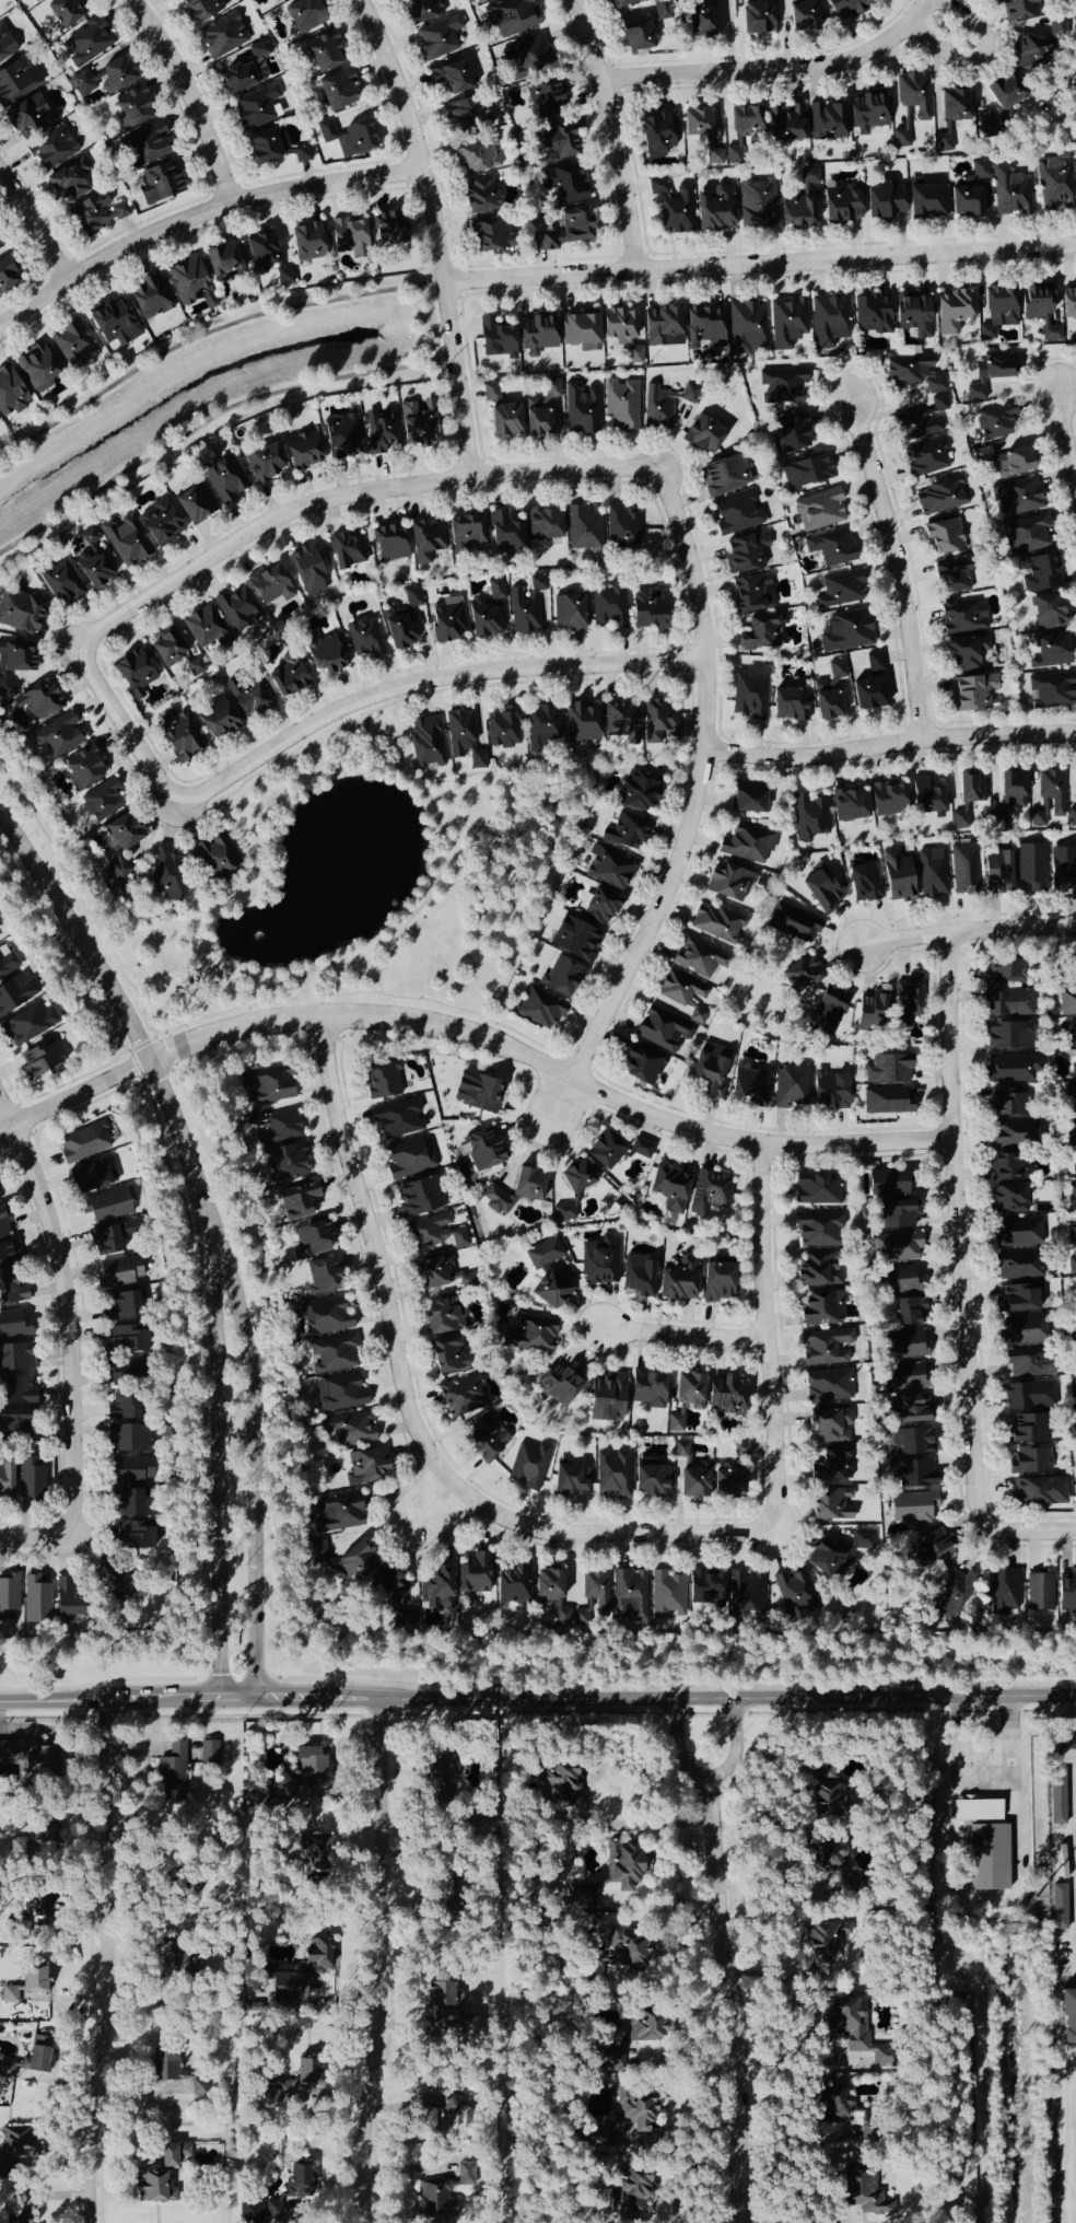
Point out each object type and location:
building: (34, 0)
building: (273, 1)
building: (478, 1)
building: (621, 3)
road: (923, 7)
building: (424, 9)
building: (844, 9)
building: (1020, 9)
building: (1075, 9)
building: (200, 10)
building: (663, 10)
building: (65, 12)
building: (304, 15)
building: (800, 15)
building: (511, 16)
building: (757, 18)
building: (702, 20)
road: (967, 22)
building: (1059, 28)
building: (222, 36)
building: (635, 36)
building: (438, 38)
building: (89, 43)
building: (5, 46)
road: (944, 51)
building: (1029, 51)
building: (323, 54)
building: (529, 56)
road: (765, 67)
building: (246, 71)
building: (452, 78)
building: (104, 79)
building: (16, 82)
building: (338, 90)
building: (1005, 93)
building: (914, 94)
road: (187, 97)
building: (545, 100)
building: (955, 106)
building: (256, 107)
building: (132, 108)
building: (868, 113)
building: (467, 116)
building: (27, 117)
building: (827, 123)
building: (697, 124)
building: (785, 125)
building: (741, 129)
road: (610, 132)
building: (657, 135)
building: (348, 138)
building: (554, 143)
building: (145, 147)
building: (262, 148)
building: (51, 150)
building: (302, 154)
building: (476, 155)
building: (715, 156)
building: (1075, 167)
building: (68, 183)
building: (159, 184)
building: (563, 184)
building: (1056, 185)
building: (657, 187)
building: (1008, 191)
building: (970, 194)
building: (480, 196)
building: (925, 200)
building: (885, 202)
building: (757, 205)
building: (802, 205)
building: (842, 205)
building: (715, 211)
building: (677, 212)
building: (95, 213)
road: (196, 213)
road: (416, 226)
road: (31, 229)
building: (388, 230)
building: (565, 230)
road: (429, 233)
building: (349, 236)
building: (491, 236)
building: (306, 243)
building: (0, 249)
building: (261, 249)
building: (223, 259)
road: (757, 264)
building: (284, 278)
building: (187, 281)
building: (149, 298)
building: (1036, 302)
building: (1068, 303)
building: (954, 311)
building: (998, 312)
building: (872, 315)
building: (913, 315)
building: (829, 321)
building: (787, 323)
building: (114, 324)
road: (430, 324)
building: (619, 326)
building: (663, 327)
building: (705, 327)
building: (748, 327)
building: (581, 331)
building: (1052, 334)
road: (198, 336)
building: (537, 336)
building: (496, 339)
building: (72, 345)
building: (634, 354)
building: (36, 369)
building: (990, 373)
building: (915, 374)
building: (782, 386)
building: (490, 392)
building: (10, 394)
building: (664, 405)
building: (621, 407)
building: (582, 409)
building: (545, 411)
building: (504, 420)
road: (444, 421)
building: (922, 421)
building: (996, 422)
building: (418, 423)
road: (202, 424)
building: (382, 431)
road: (1066, 434)
building: (703, 435)
building: (342, 437)
building: (302, 450)
building: (926, 458)
building: (264, 462)
building: (807, 472)
building: (724, 476)
building: (224, 478)
building: (1018, 496)
building: (941, 497)
road: (347, 498)
building: (194, 503)
building: (820, 511)
building: (737, 514)
building: (160, 523)
building: (545, 525)
building: (622, 528)
building: (584, 529)
building: (465, 533)
building: (505, 534)
building: (1026, 534)
building: (944, 536)
building: (125, 539)
building: (425, 540)
building: (389, 544)
building: (832, 548)
building: (346, 551)
building: (745, 552)
building: (91, 561)
road: (893, 563)
building: (307, 570)
building: (1039, 573)
building: (952, 577)
building: (61, 583)
building: (269, 585)
building: (495, 590)
building: (841, 591)
building: (751, 593)
building: (527, 606)
building: (609, 607)
building: (237, 608)
building: (648, 609)
building: (19, 612)
building: (1048, 612)
building: (569, 613)
building: (963, 617)
building: (403, 620)
building: (447, 620)
building: (203, 626)
building: (846, 631)
building: (759, 635)
building: (363, 638)
building: (167, 647)
building: (1050, 651)
building: (967, 653)
building: (16, 656)
building: (325, 656)
building: (136, 671)
road: (420, 677)
building: (286, 678)
building: (870, 686)
building: (1051, 690)
building: (829, 691)
building: (974, 692)
building: (750, 694)
building: (38, 702)
building: (790, 705)
building: (234, 707)
building: (581, 723)
building: (622, 723)
building: (658, 723)
road: (124, 726)
building: (503, 728)
building: (543, 728)
building: (182, 736)
building: (57, 737)
building: (465, 738)
building: (426, 741)
road: (887, 742)
building: (80, 771)
building: (638, 791)
building: (966, 795)
building: (1010, 796)
building: (749, 798)
building: (1049, 798)
building: (888, 799)
building: (926, 799)
building: (102, 801)
building: (850, 805)
road: (690, 813)
building: (809, 817)
building: (1072, 817)
building: (124, 831)
building: (627, 831)
building: (747, 843)
building: (215, 857)
building: (963, 869)
building: (1032, 869)
building: (610, 870)
building: (1062, 870)
building: (997, 872)
building: (932, 873)
building: (167, 875)
building: (897, 876)
building: (864, 882)
building: (729, 883)
park: (362, 885)
building: (823, 889)
building: (600, 907)
building: (718, 923)
building: (794, 923)
road: (963, 933)
building: (574, 940)
building: (700, 957)
building: (8, 965)
building: (797, 971)
building: (1075, 971)
building: (1003, 973)
building: (561, 978)
building: (15, 991)
building: (682, 998)
building: (908, 1001)
building: (1067, 1002)
building: (1008, 1003)
road: (121, 1008)
building: (539, 1009)
building: (828, 1011)
building: (869, 1014)
building: (28, 1024)
building: (664, 1031)
road: (476, 1034)
building: (1072, 1034)
building: (1009, 1036)
building: (642, 1064)
building: (710, 1069)
building: (1011, 1069)
building: (888, 1070)
building: (382, 1080)
building: (748, 1087)
building: (791, 1087)
building: (265, 1089)
building: (830, 1091)
building: (477, 1092)
building: (1072, 1098)
building: (887, 1102)
building: (1006, 1103)
building: (397, 1119)
building: (280, 1128)
building: (1072, 1130)
building: (1015, 1133)
building: (82, 1143)
building: (639, 1149)
building: (483, 1150)
building: (605, 1151)
building: (408, 1161)
building: (285, 1163)
building: (1009, 1167)
building: (92, 1176)
building: (889, 1183)
building: (570, 1188)
building: (669, 1188)
building: (817, 1190)
building: (516, 1191)
building: (710, 1192)
building: (1073, 1196)
building: (420, 1197)
building: (296, 1199)
building: (1007, 1200)
building: (105, 1207)
building: (897, 1214)
building: (3, 1223)
building: (818, 1230)
building: (435, 1233)
building: (1017, 1233)
building: (1072, 1234)
road: (958, 1235)
building: (116, 1237)
building: (311, 1239)
building: (897, 1247)
building: (8, 1255)
building: (600, 1261)
building: (1073, 1261)
building: (1018, 1266)
building: (119, 1271)
building: (431, 1273)
building: (547, 1273)
building: (818, 1273)
building: (325, 1276)
building: (639, 1277)
building: (468, 1280)
building: (898, 1280)
building: (678, 1281)
building: (717, 1283)
building: (12, 1291)
building: (1018, 1299)
building: (118, 1306)
building: (821, 1308)
building: (910, 1312)
building: (326, 1316)
road: (60, 1317)
building: (443, 1317)
building: (13, 1325)
building: (1024, 1330)
road: (681, 1334)
building: (530, 1335)
road: (768, 1339)
building: (125, 1340)
building: (902, 1346)
building: (827, 1348)
building: (332, 1354)
building: (446, 1355)
building: (15, 1358)
building: (1029, 1363)
building: (125, 1372)
building: (903, 1377)
building: (559, 1385)
building: (828, 1386)
building: (647, 1389)
building: (15, 1392)
building: (339, 1394)
building: (726, 1396)
building: (1029, 1396)
building: (463, 1397)
building: (607, 1398)
building: (686, 1399)
building: (121, 1408)
building: (909, 1410)
road: (409, 1422)
building: (15, 1424)
building: (831, 1425)
building: (348, 1429)
building: (1027, 1429)
building: (130, 1440)
building: (487, 1441)
building: (910, 1443)
building: (740, 1450)
road: (255, 1455)
road: (218, 1458)
building: (1030, 1462)
building: (364, 1467)
building: (529, 1467)
building: (831, 1467)
building: (129, 1470)
building: (612, 1475)
building: (689, 1475)
building: (912, 1475)
building: (651, 1479)
building: (27, 1480)
building: (571, 1480)
building: (1075, 1480)
building: (5, 1481)
building: (728, 1483)
building: (1040, 1492)
road: (419, 1500)
building: (126, 1504)
building: (830, 1505)
building: (912, 1508)
building: (341, 1512)
road: (1033, 1527)
building: (131, 1537)
road: (35, 1539)
building: (863, 1540)
building: (824, 1560)
building: (355, 1561)
building: (337, 1571)
building: (472, 1575)
building: (513, 1586)
building: (704, 1588)
building: (436, 1590)
building: (549, 1590)
building: (1005, 1591)
building: (1040, 1593)
building: (1066, 1593)
building: (795, 1594)
building: (629, 1595)
building: (667, 1595)
building: (746, 1595)
building: (594, 1599)
building: (9, 1601)
building: (35, 1602)
building: (65, 1603)
building: (405, 1620)
road: (537, 1696)
building: (209, 1753)
building: (26, 1761)
building: (308, 1766)
road: (335, 1768)
building: (174, 1770)
road: (707, 1772)
building: (442, 1777)
building: (560, 1785)
building: (976, 1811)
road: (1075, 1817)
road: (638, 1822)
building: (823, 1853)
building: (989, 1858)
building: (623, 1865)
road: (768, 1892)
building: (28, 1911)
building: (827, 1940)
building: (627, 1953)
building: (318, 1954)
road: (383, 1959)
road: (109, 1960)
building: (11, 1994)
road: (730, 1997)
building: (443, 2001)
building: (466, 2014)
building: (853, 2029)
building: (634, 2039)
road: (794, 2052)
building: (37, 2053)
building: (850, 2061)
building: (7, 2069)
building: (173, 2074)
building: (293, 2075)
building: (830, 2103)
building: (635, 2121)
road: (791, 2138)
building: (174, 2156)
building: (300, 2180)
building: (153, 2187)
building: (863, 2192)
building: (631, 2195)
building: (442, 2196)
building: (258, 2212)
road: (763, 2219)
road: (845, 2219)

